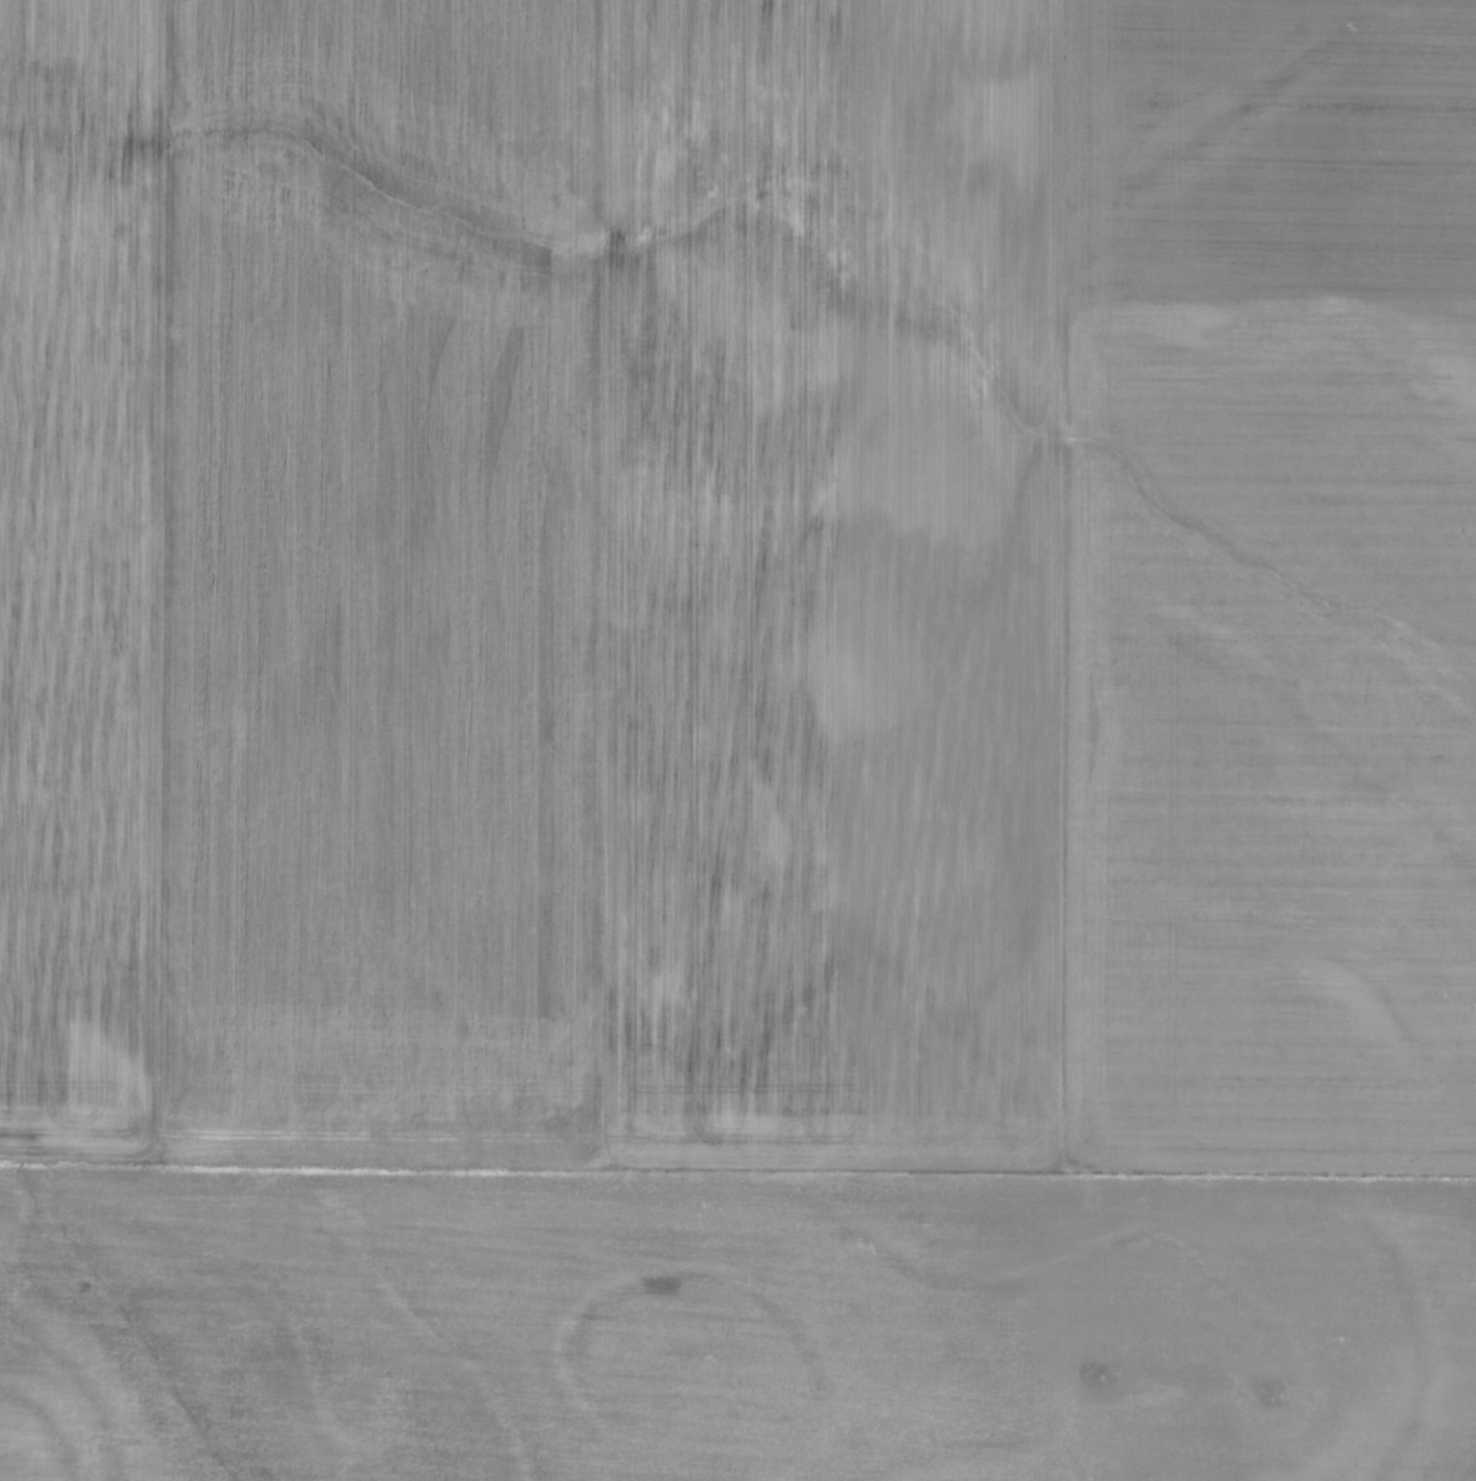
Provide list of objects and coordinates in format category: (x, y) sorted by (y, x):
crop: (738, 740)

